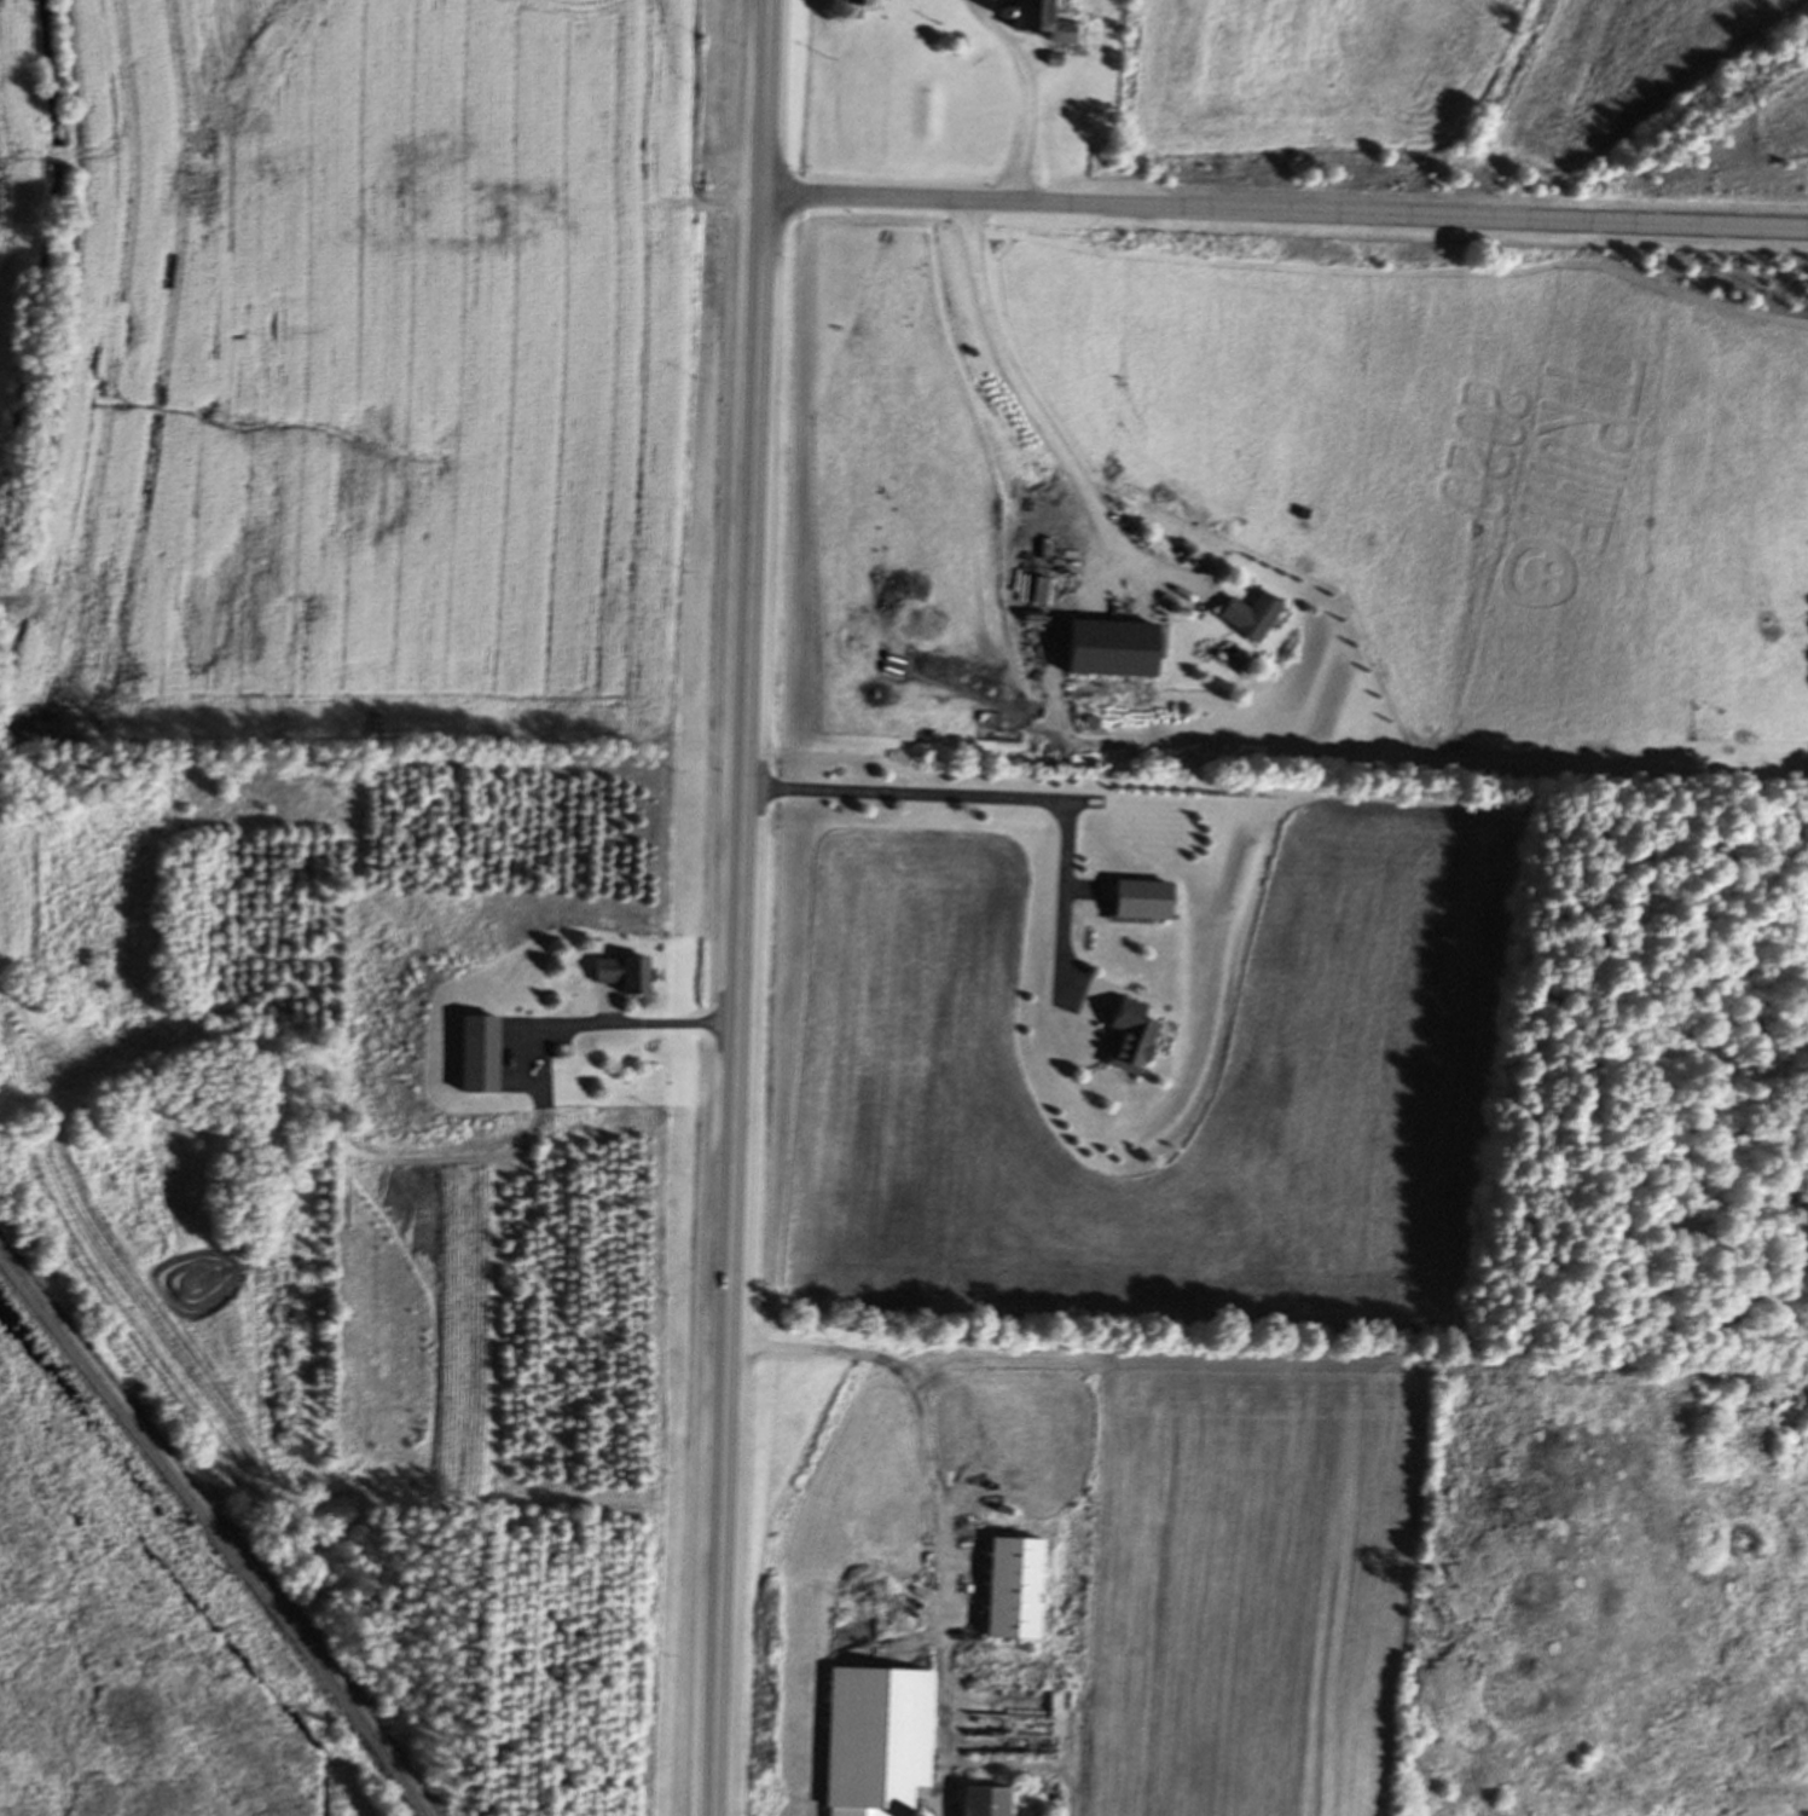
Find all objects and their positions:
building: (864, 4)
building: (1053, 22)
road: (1030, 93)
road: (1286, 212)
landfill: (369, 369)
road: (1043, 427)
building: (1253, 617)
building: (1117, 650)
road: (1012, 799)
building: (1147, 902)
road: (742, 907)
building: (626, 976)
road: (643, 1025)
building: (1134, 1039)
building: (485, 1056)
road: (938, 1500)
railway: (215, 1534)
building: (1018, 1590)
landfill: (129, 1642)
building: (881, 1740)
building: (1032, 1748)
building: (987, 1801)

